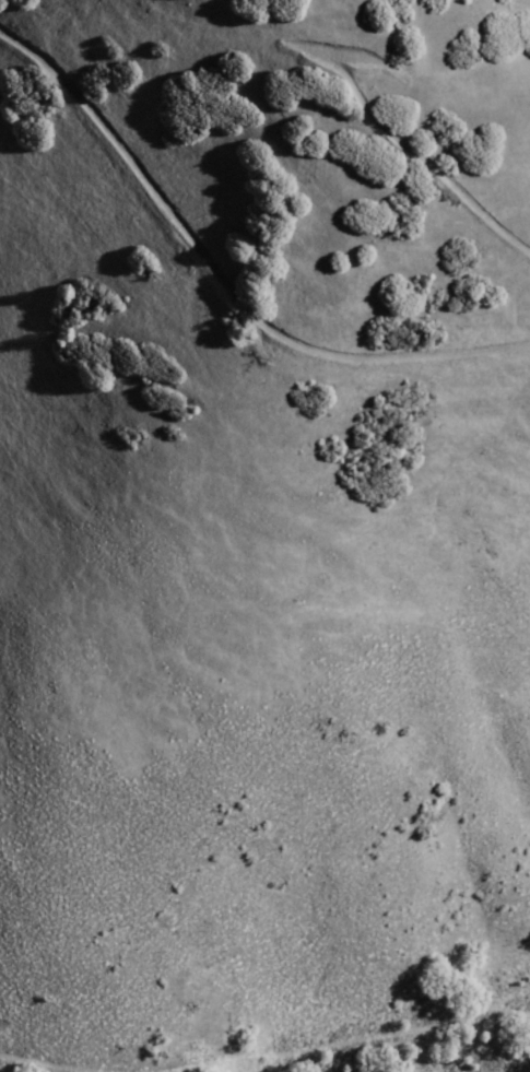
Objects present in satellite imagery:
road: (508, 1067)

